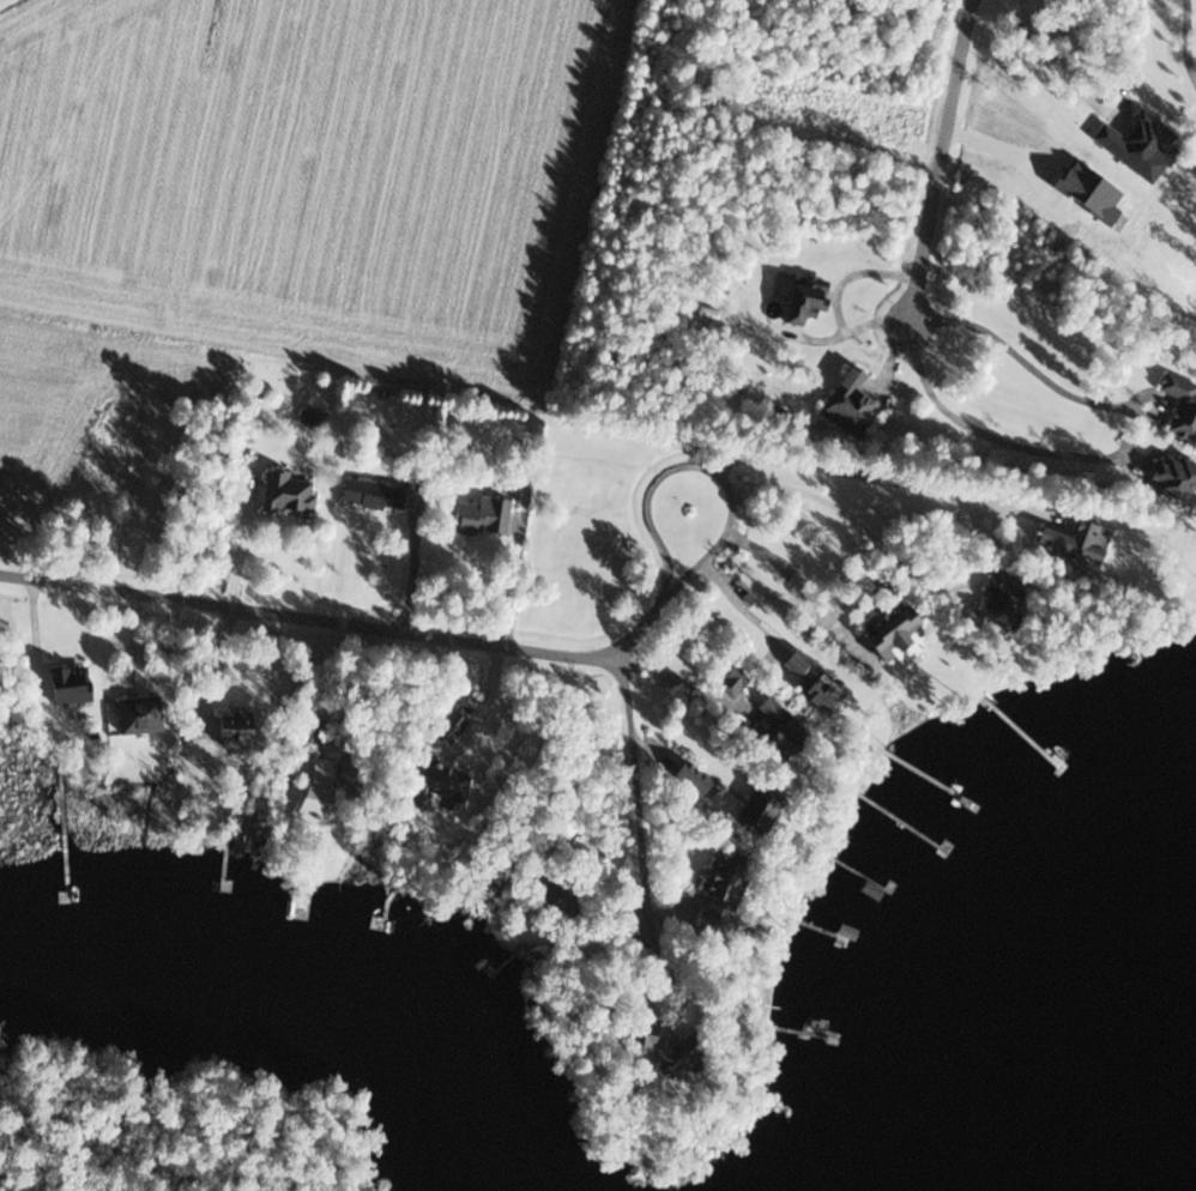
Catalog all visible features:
road: (1184, 42)
road: (1035, 52)
road: (1123, 96)
building: (1134, 145)
road: (940, 158)
building: (803, 302)
road: (1022, 359)
building: (847, 404)
building: (1179, 405)
road: (975, 430)
building: (1171, 476)
road: (729, 486)
building: (288, 491)
building: (370, 494)
building: (482, 515)
road: (857, 520)
building: (1087, 540)
road: (796, 581)
road: (824, 588)
road: (741, 605)
road: (309, 619)
building: (888, 627)
building: (809, 677)
building: (731, 678)
building: (135, 714)
building: (773, 721)
building: (229, 726)
building: (447, 730)
building: (688, 776)
building: (314, 790)
road: (633, 804)
building: (718, 893)

